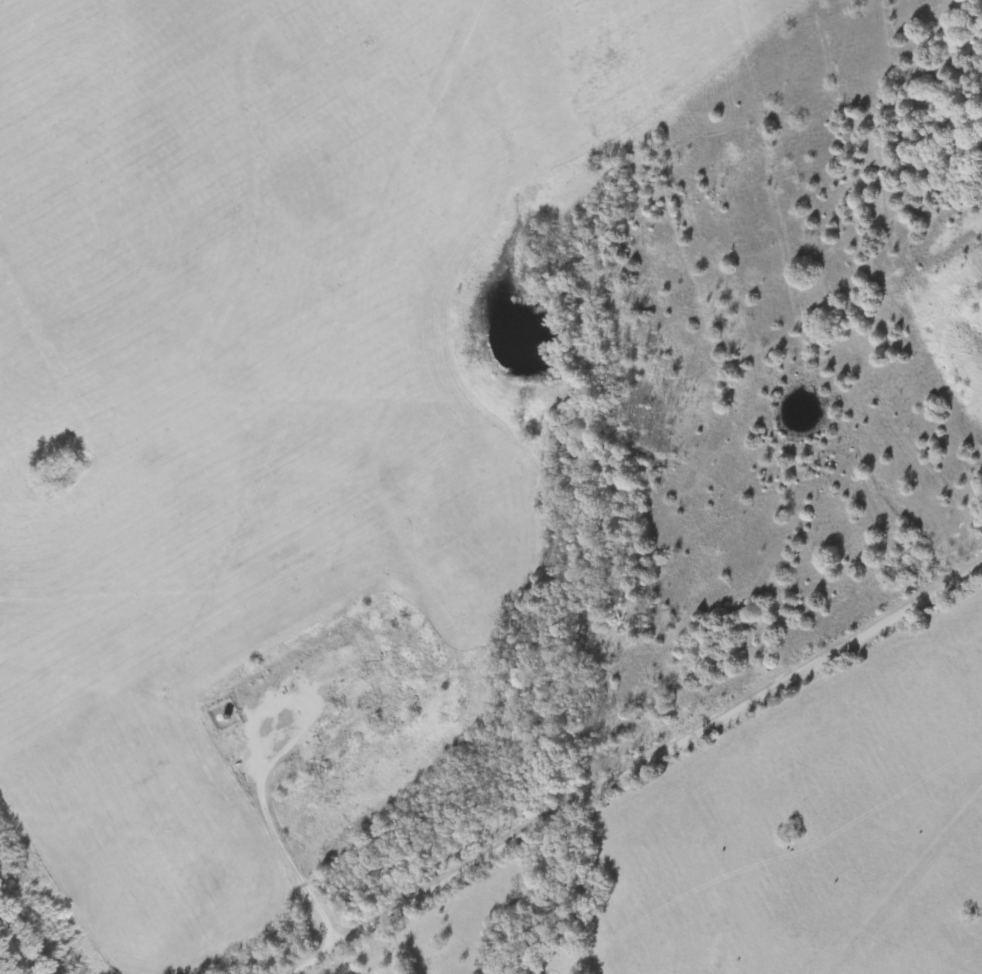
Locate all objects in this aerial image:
road: (633, 768)
road: (13, 950)

